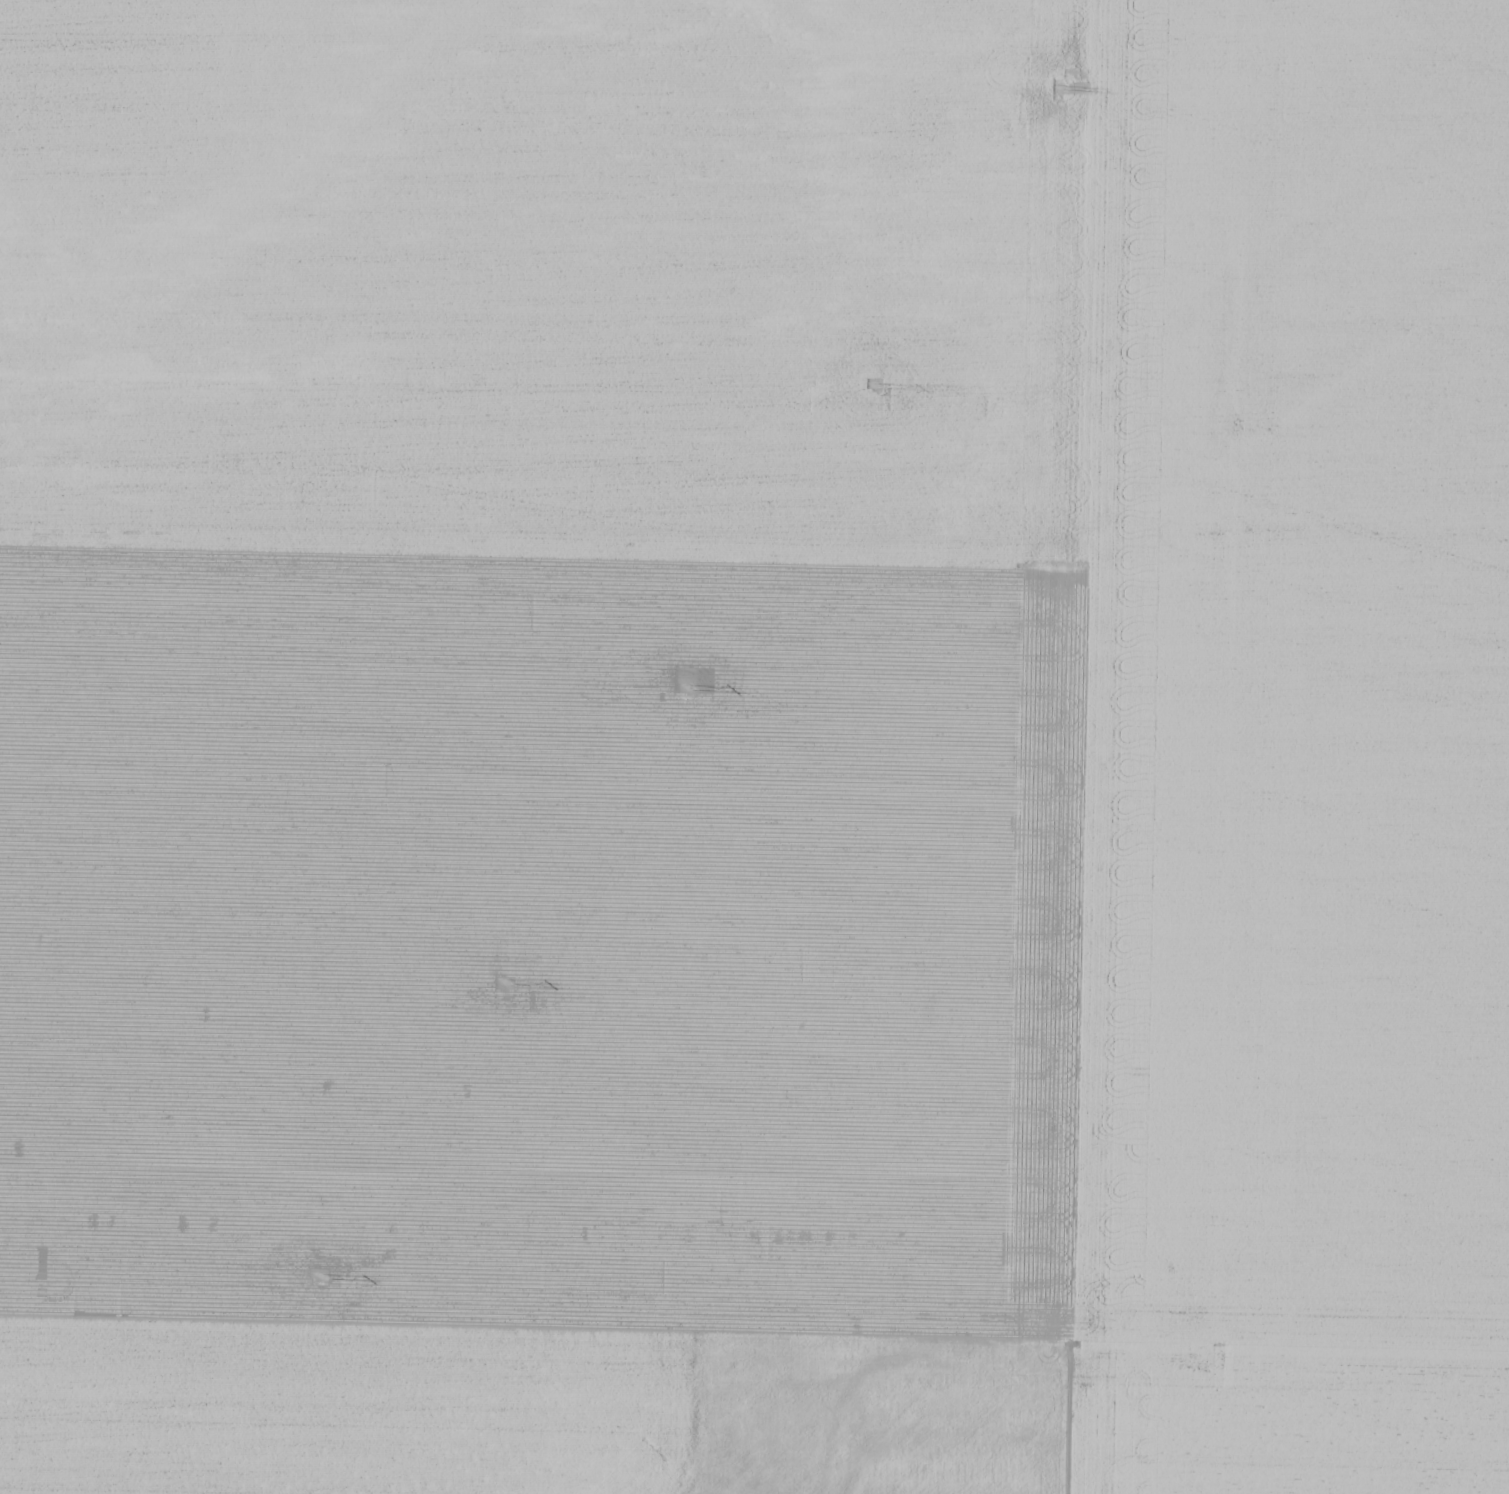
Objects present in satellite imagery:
power tower: (1055, 84)
power tower: (876, 385)
power tower: (687, 686)
power tower: (507, 981)
power tower: (322, 1276)

